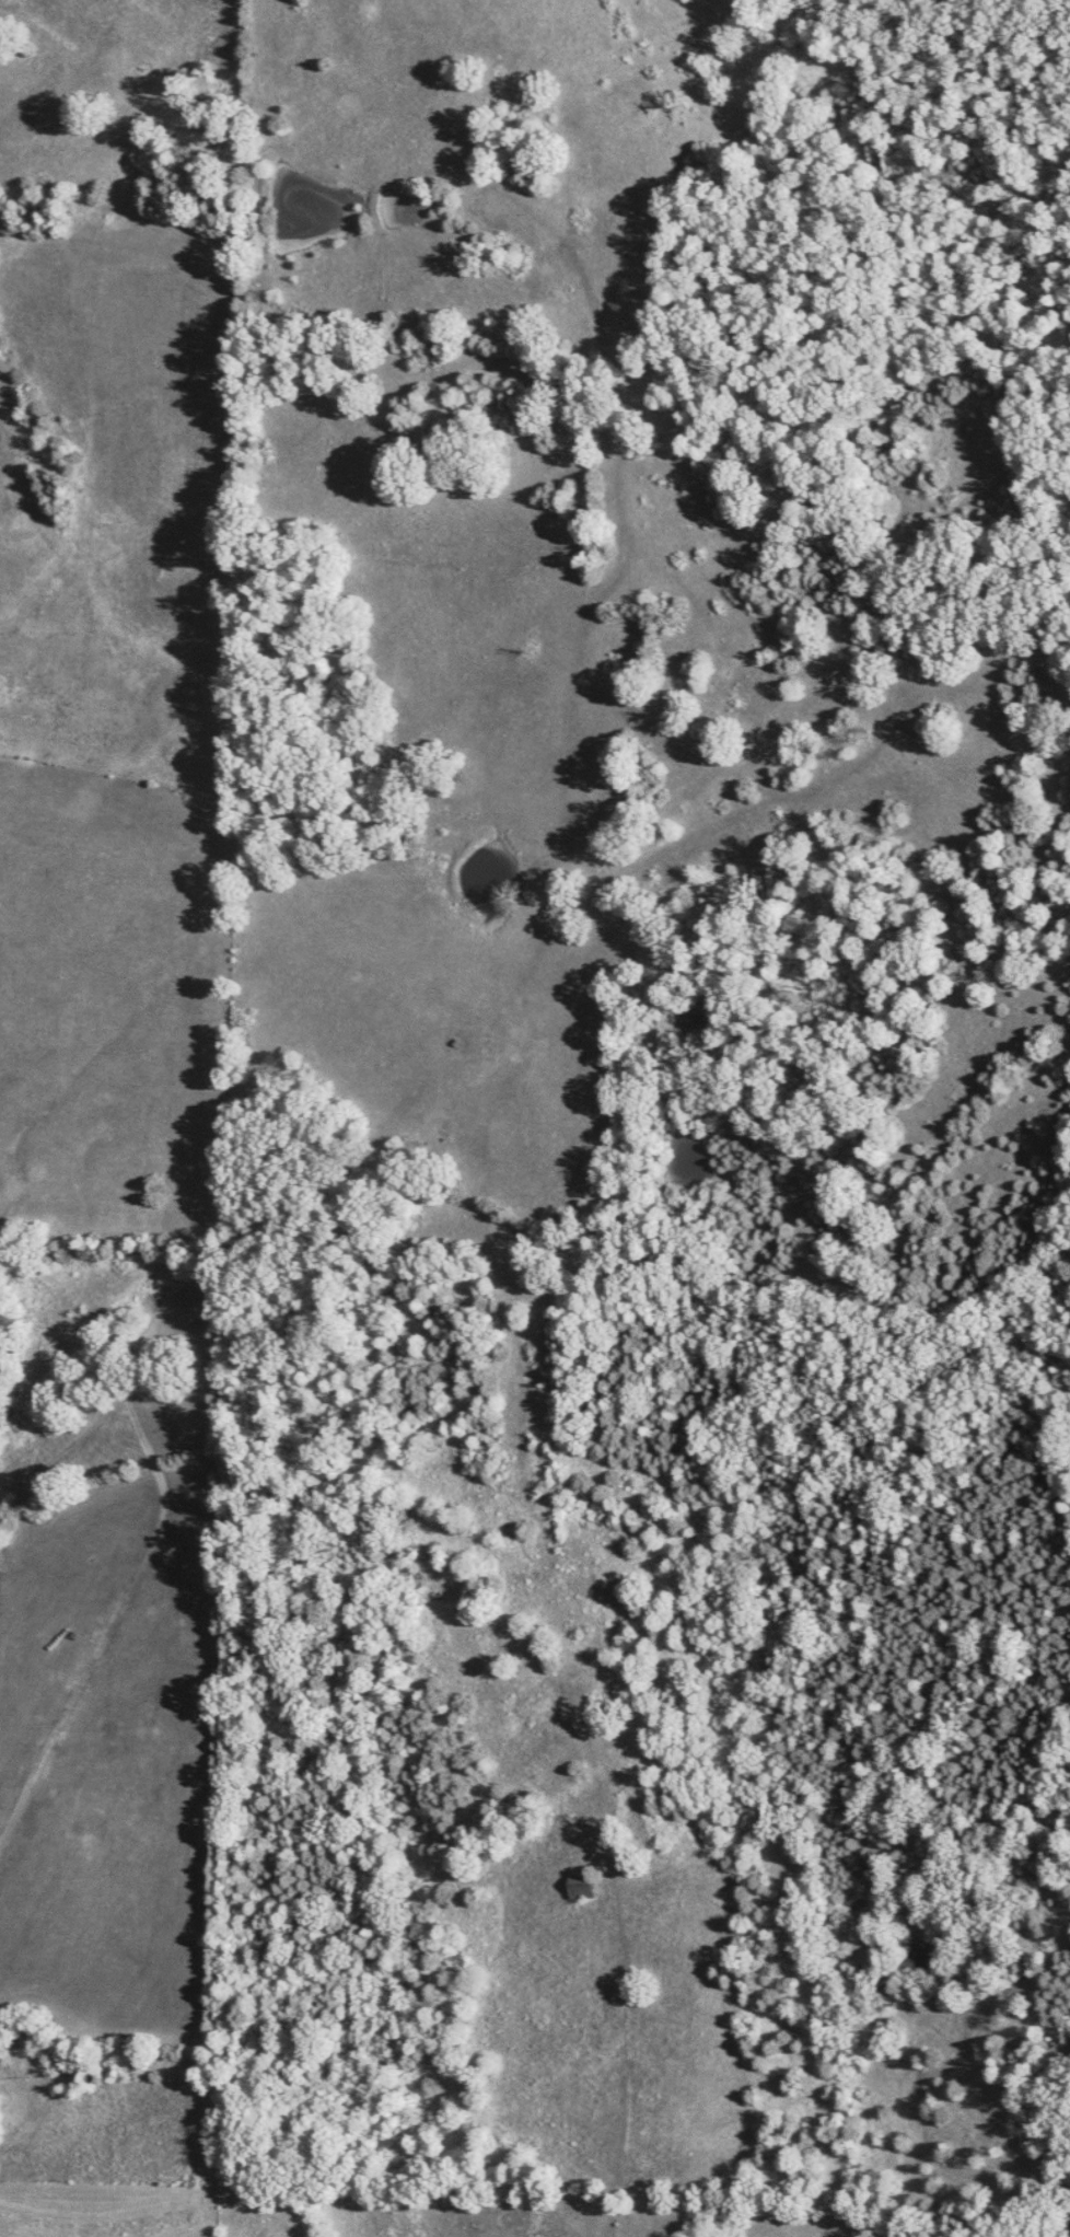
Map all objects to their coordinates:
building: (579, 1886)
building: (66, 2068)
road: (2, 2134)

